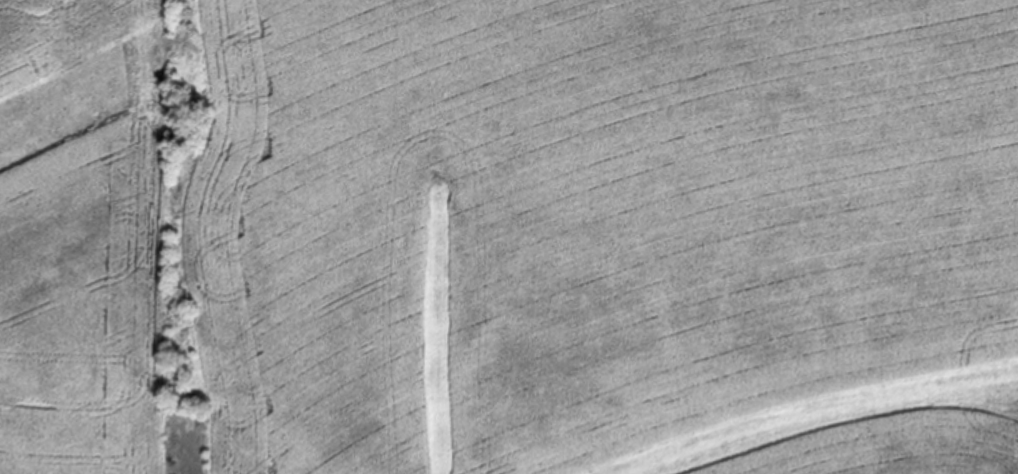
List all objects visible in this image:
road: (817, 408)

